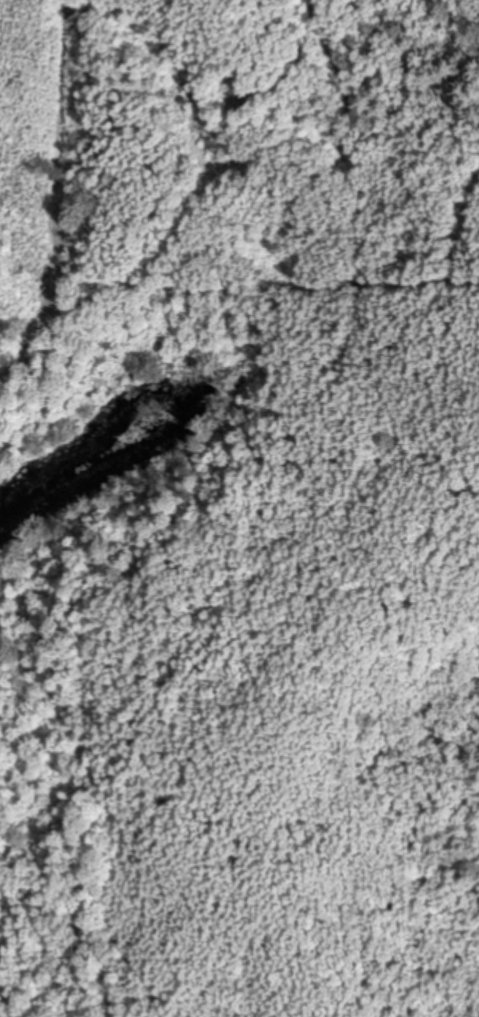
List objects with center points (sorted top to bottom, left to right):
road: (187, 232)

